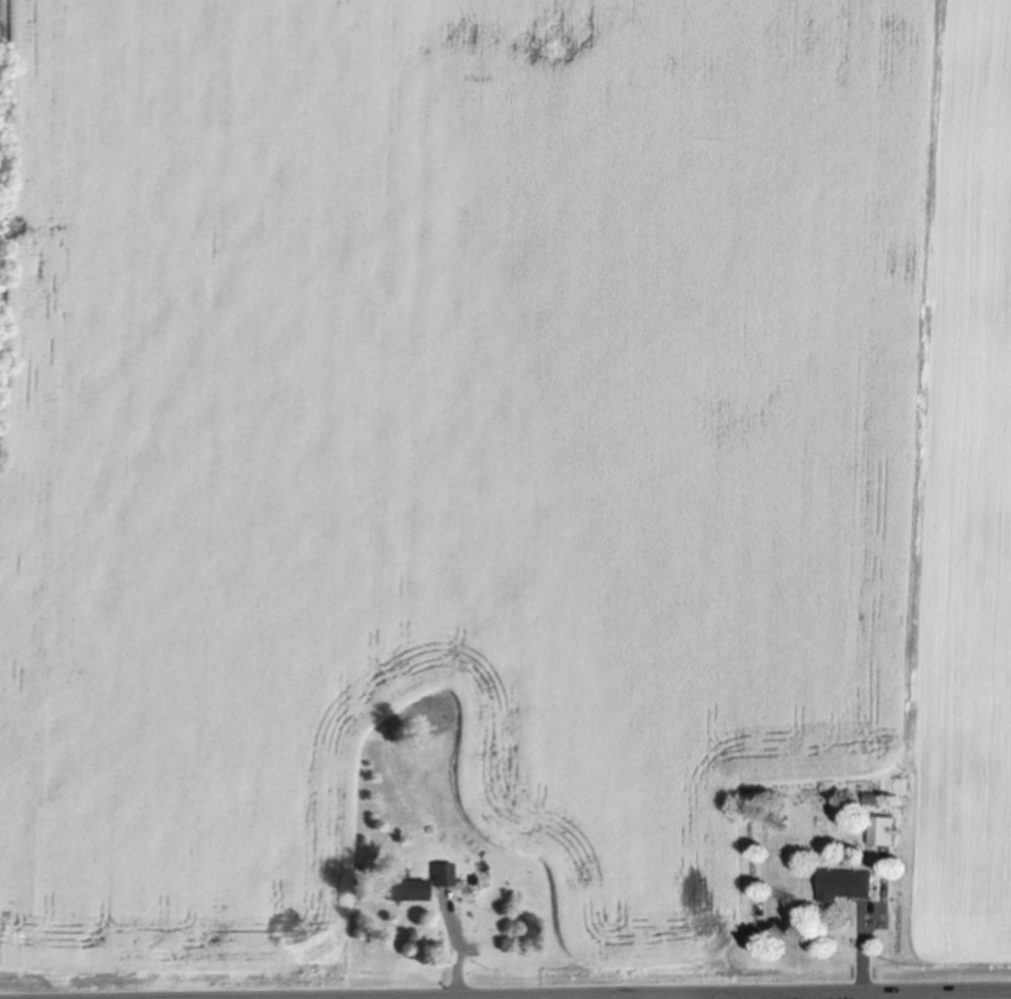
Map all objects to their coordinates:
building: (465, 696)
building: (440, 871)
building: (843, 882)
building: (404, 887)
road: (864, 953)
road: (458, 956)
road: (526, 993)
road: (774, 994)

